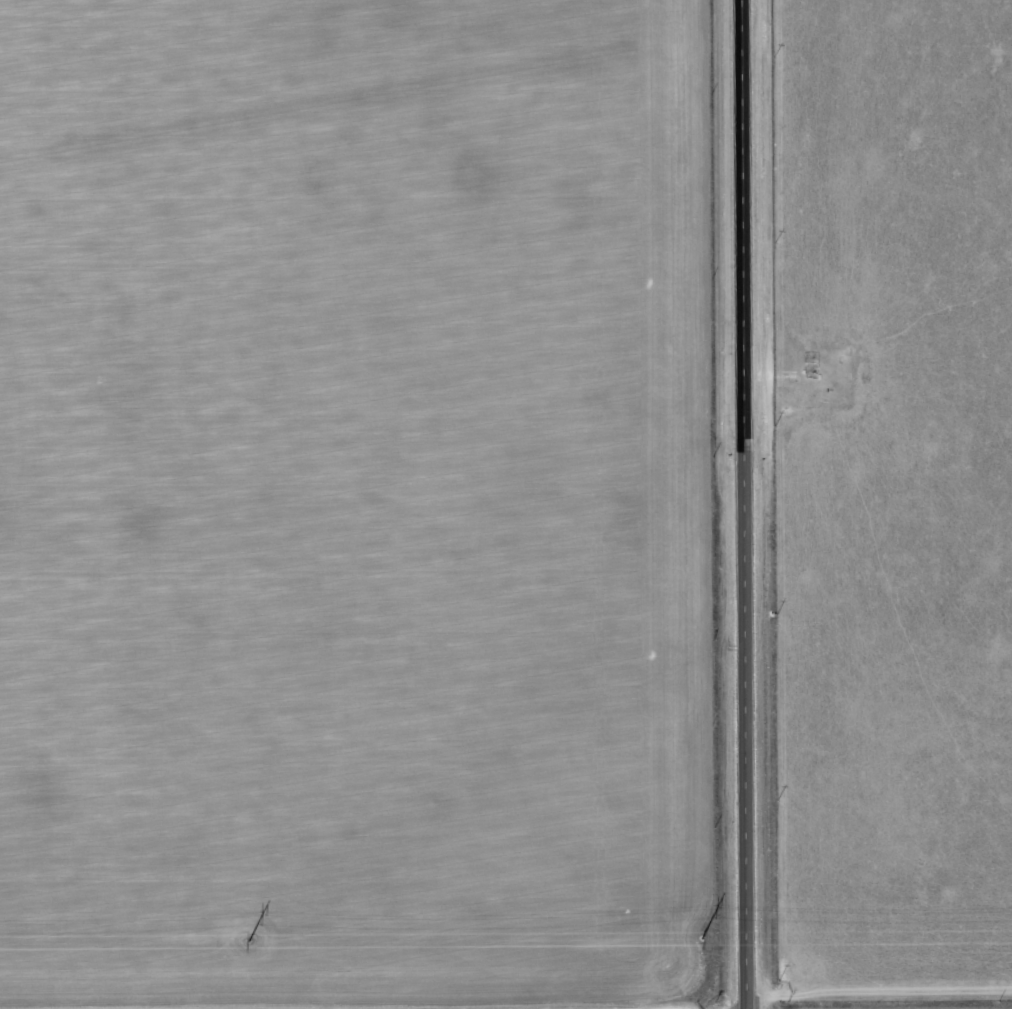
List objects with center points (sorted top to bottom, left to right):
road: (743, 426)
road: (746, 930)
power tower: (699, 937)
power tower: (246, 942)
road: (878, 989)

